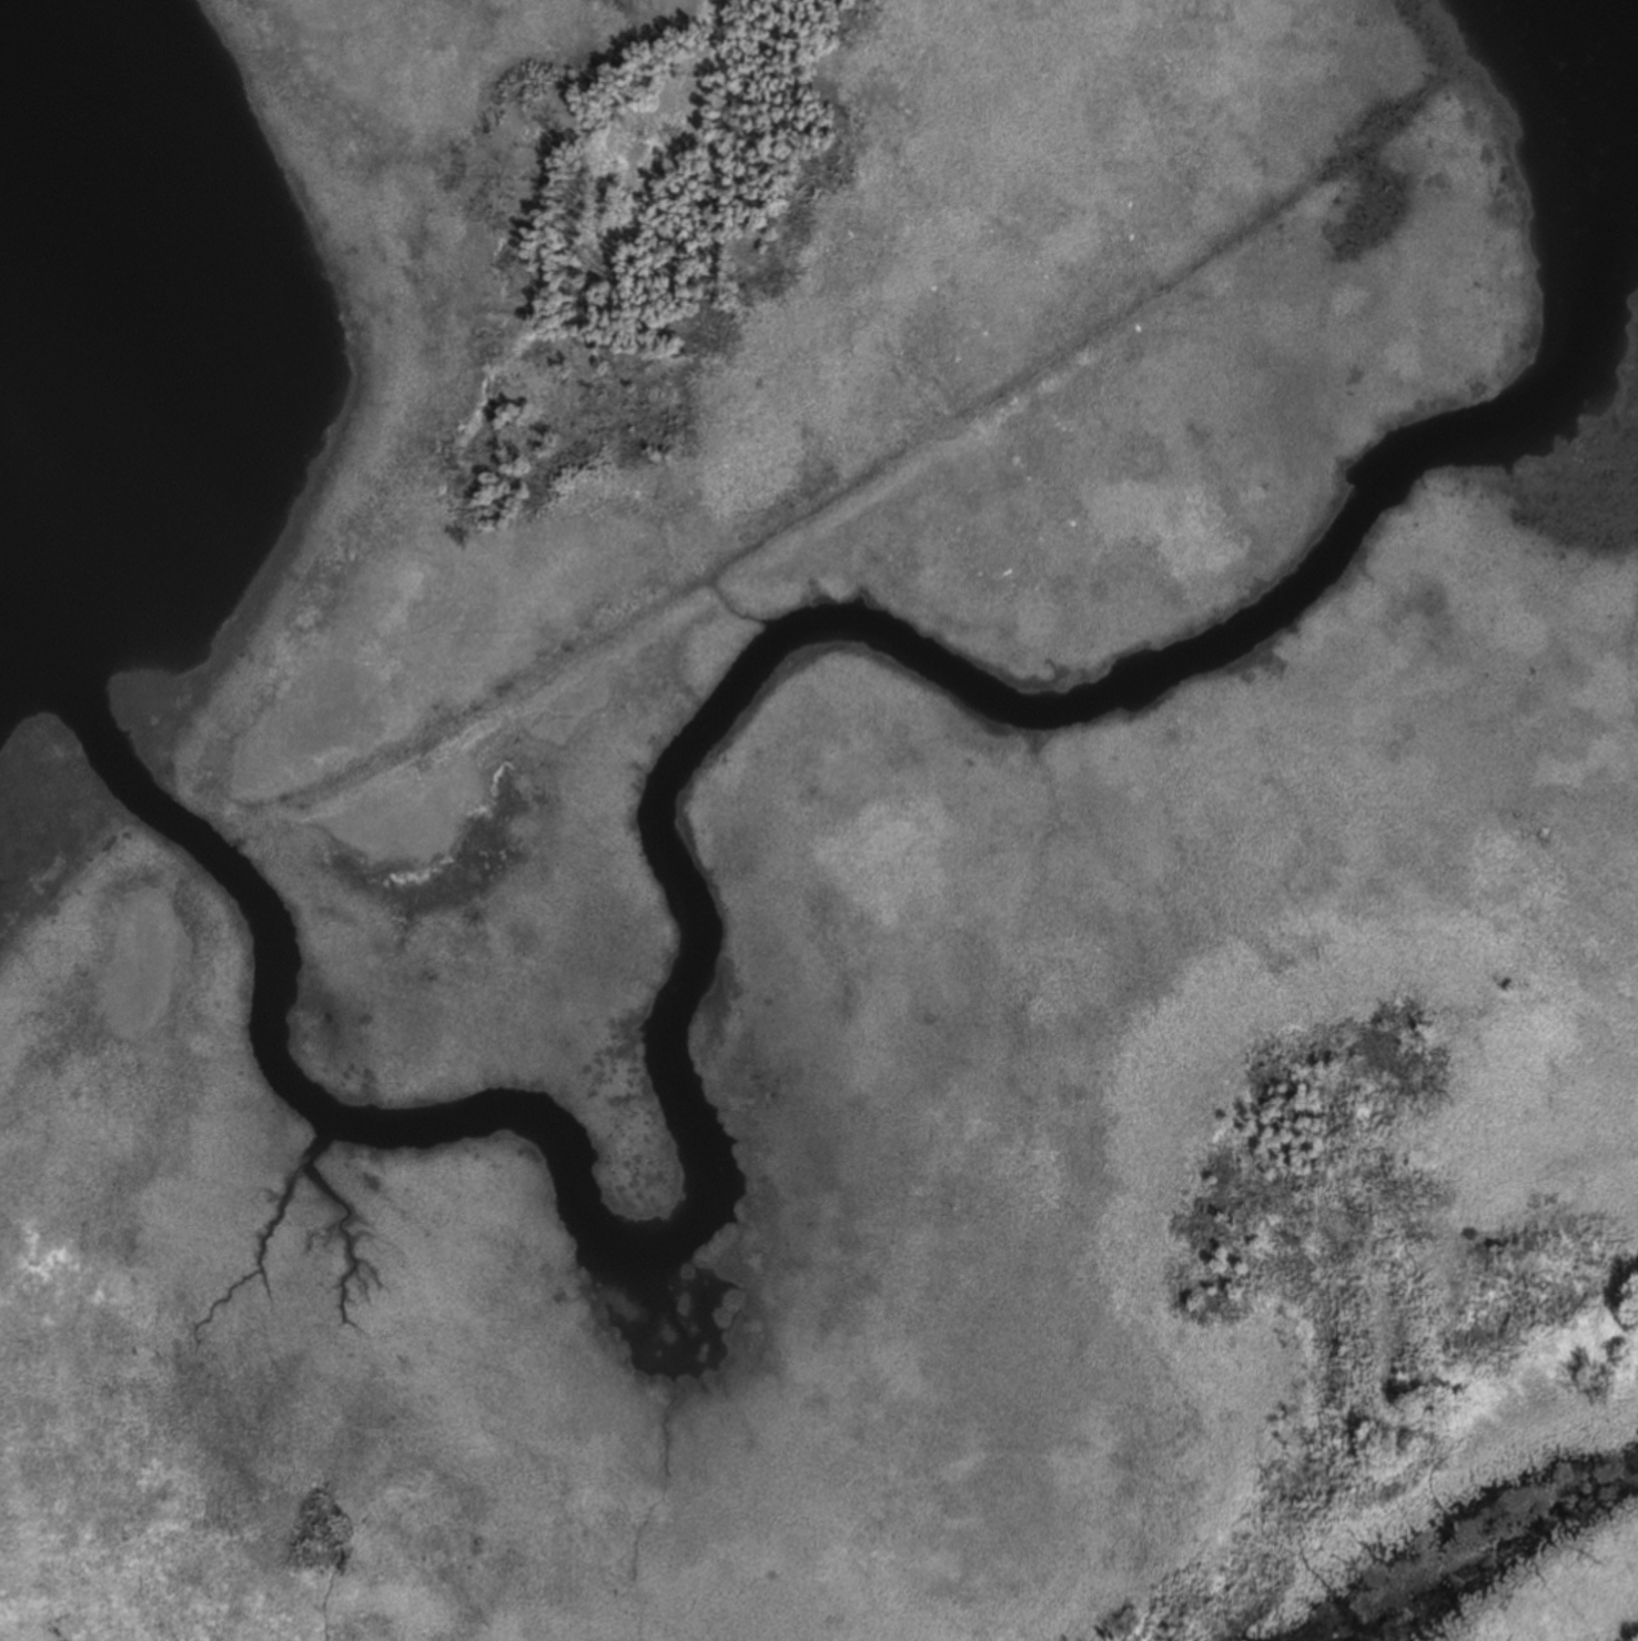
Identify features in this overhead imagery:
river: (1637, 68)
river: (1609, 391)
river: (50, 718)
river: (676, 1253)

